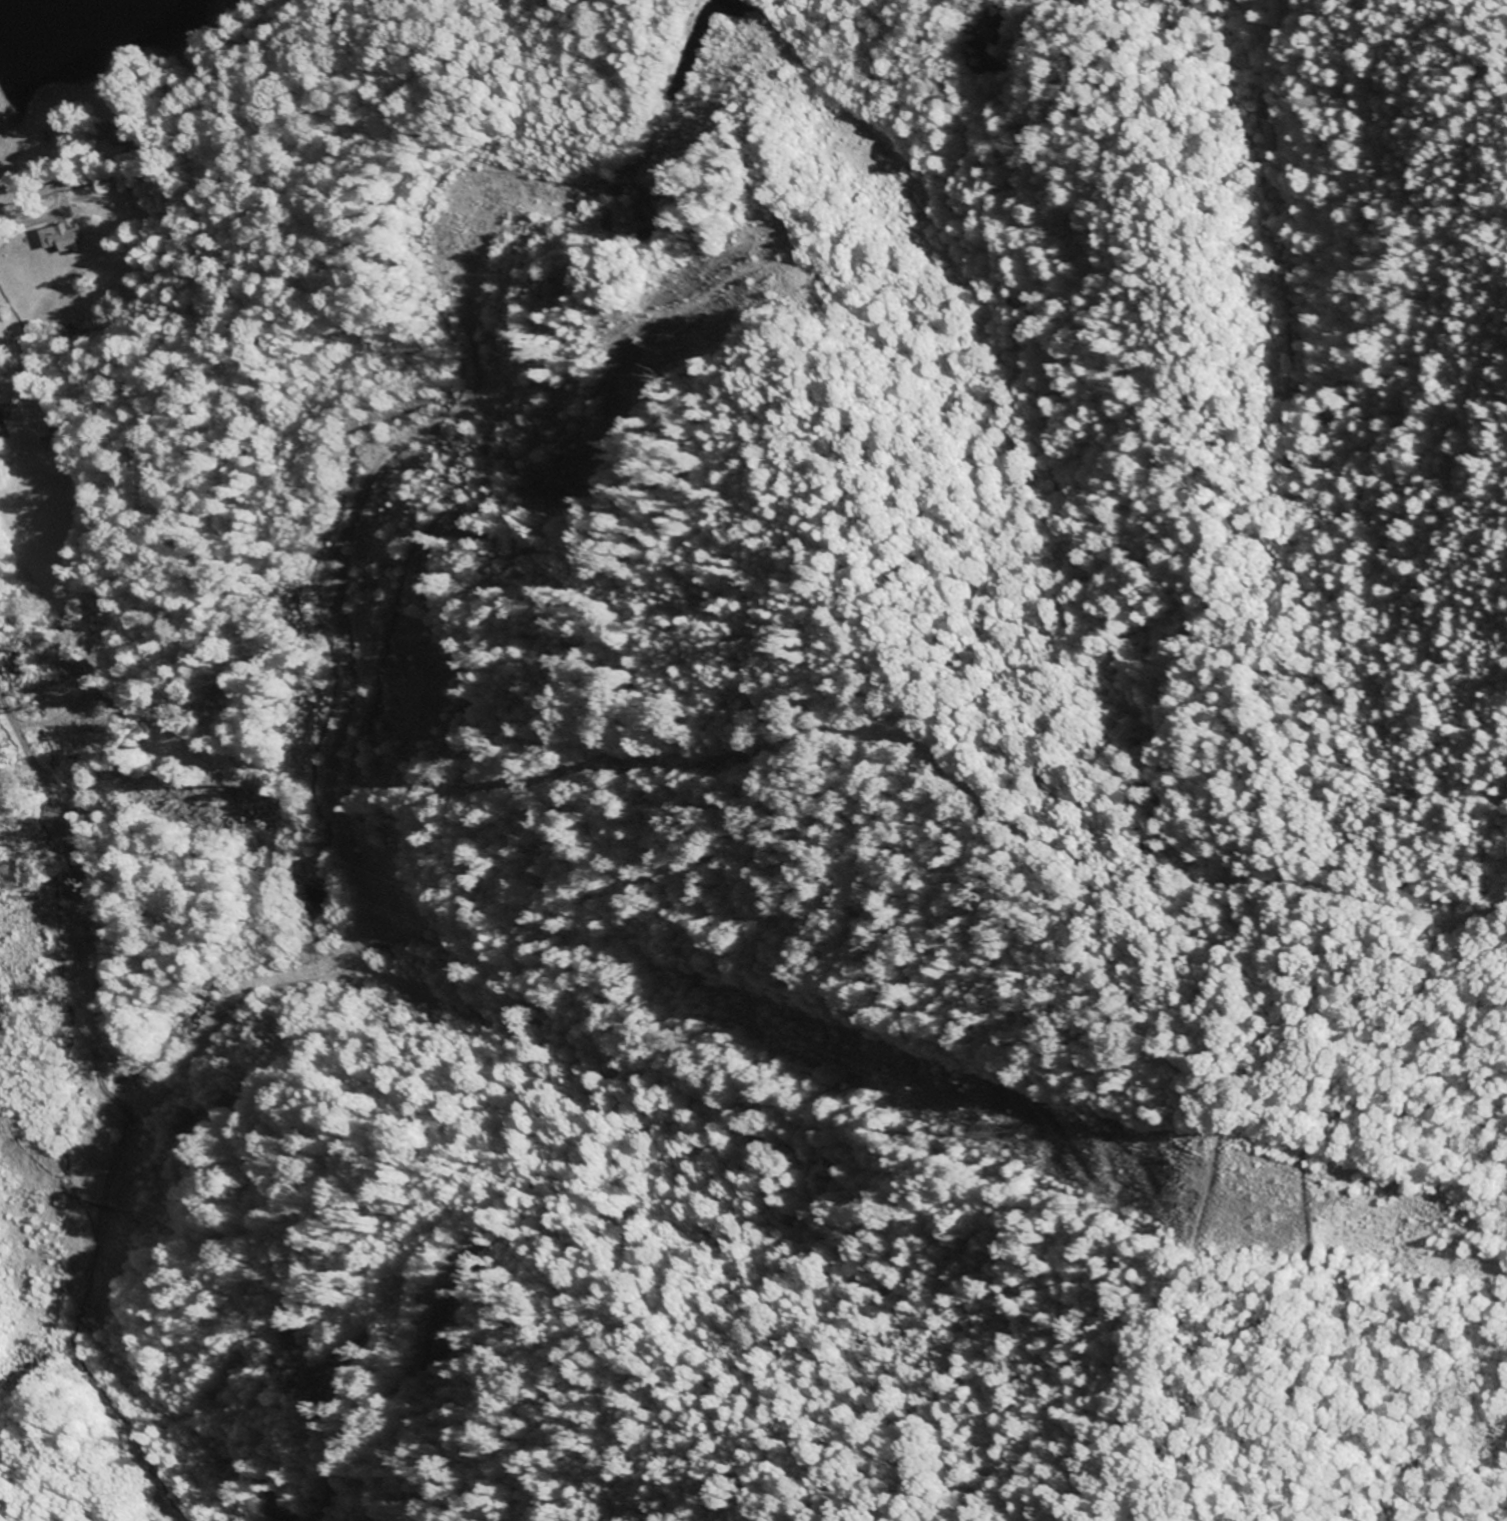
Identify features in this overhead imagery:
road: (200, 134)
building: (62, 237)
power tower: (1005, 1134)
power tower: (1187, 1199)

